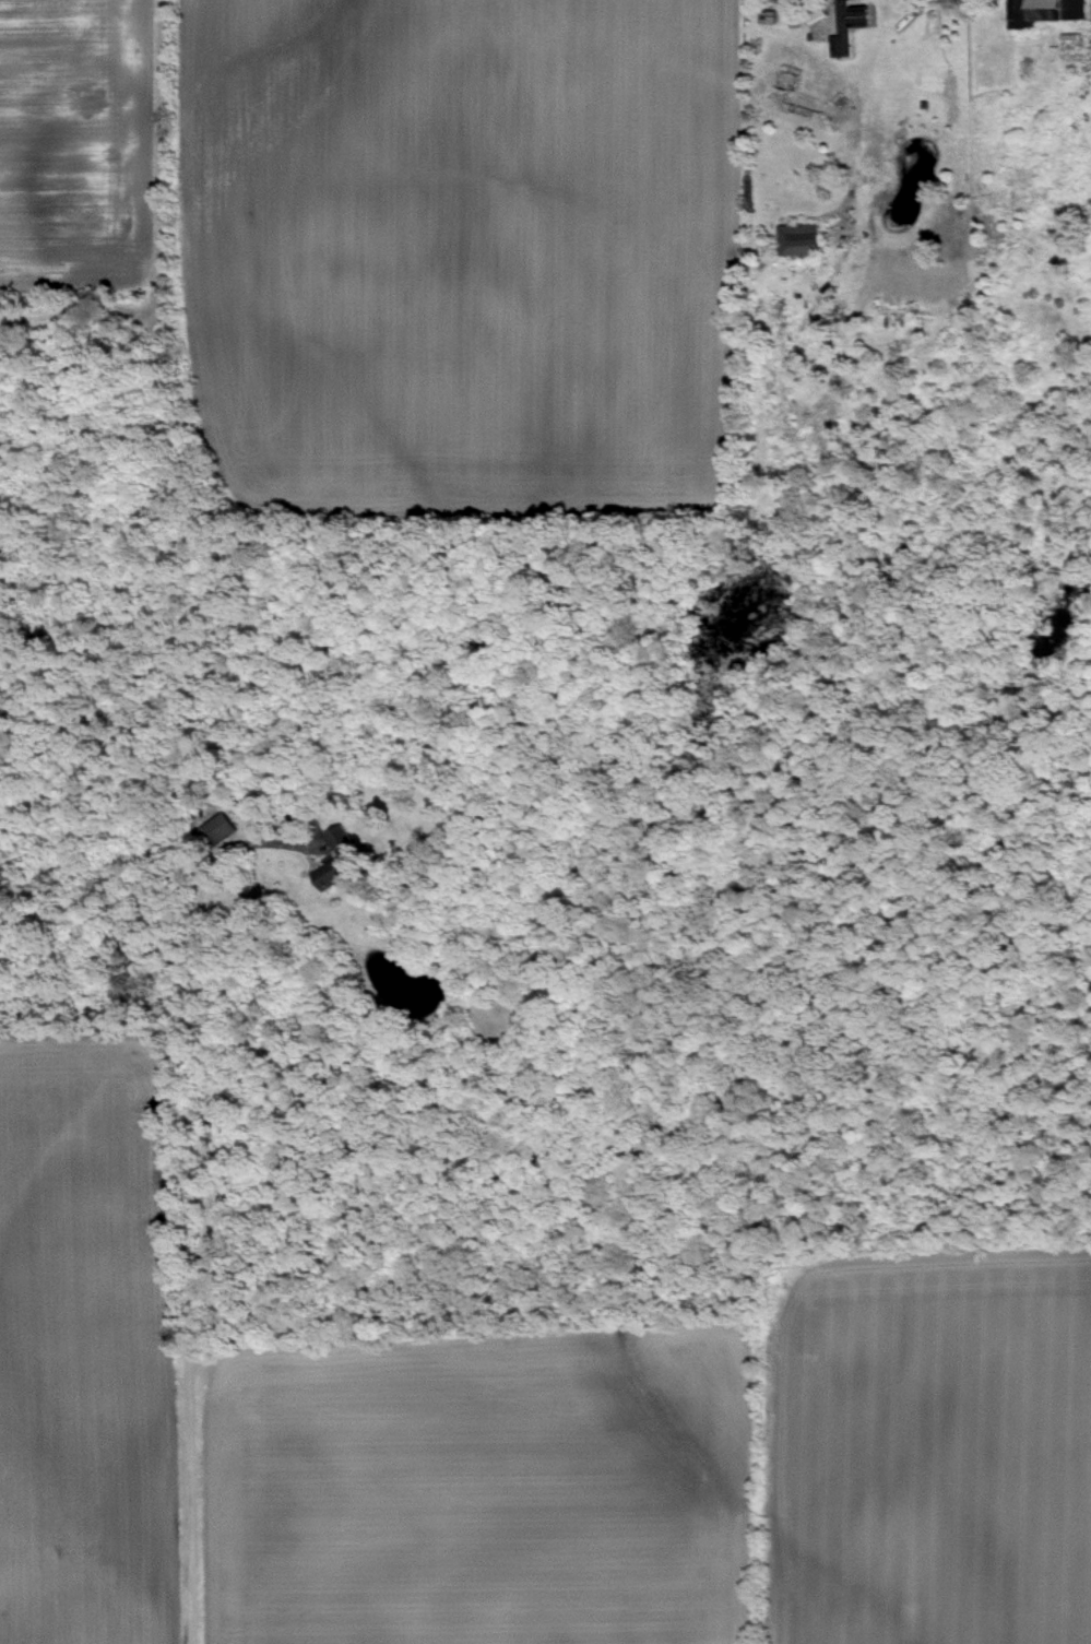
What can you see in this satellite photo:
building: (1041, 10)
building: (845, 25)
road: (851, 126)
building: (796, 238)
building: (215, 826)
road: (210, 1190)

